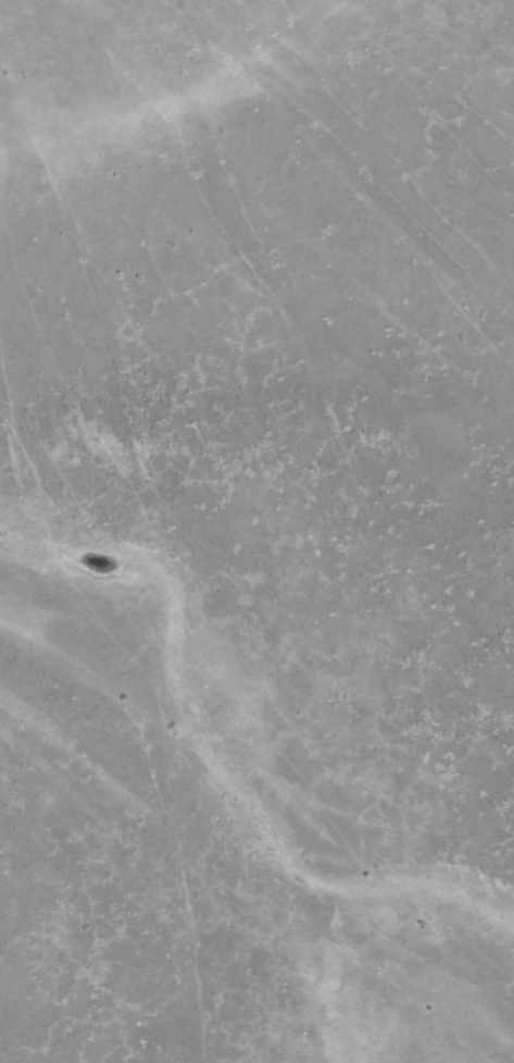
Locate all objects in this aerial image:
road: (348, 178)

